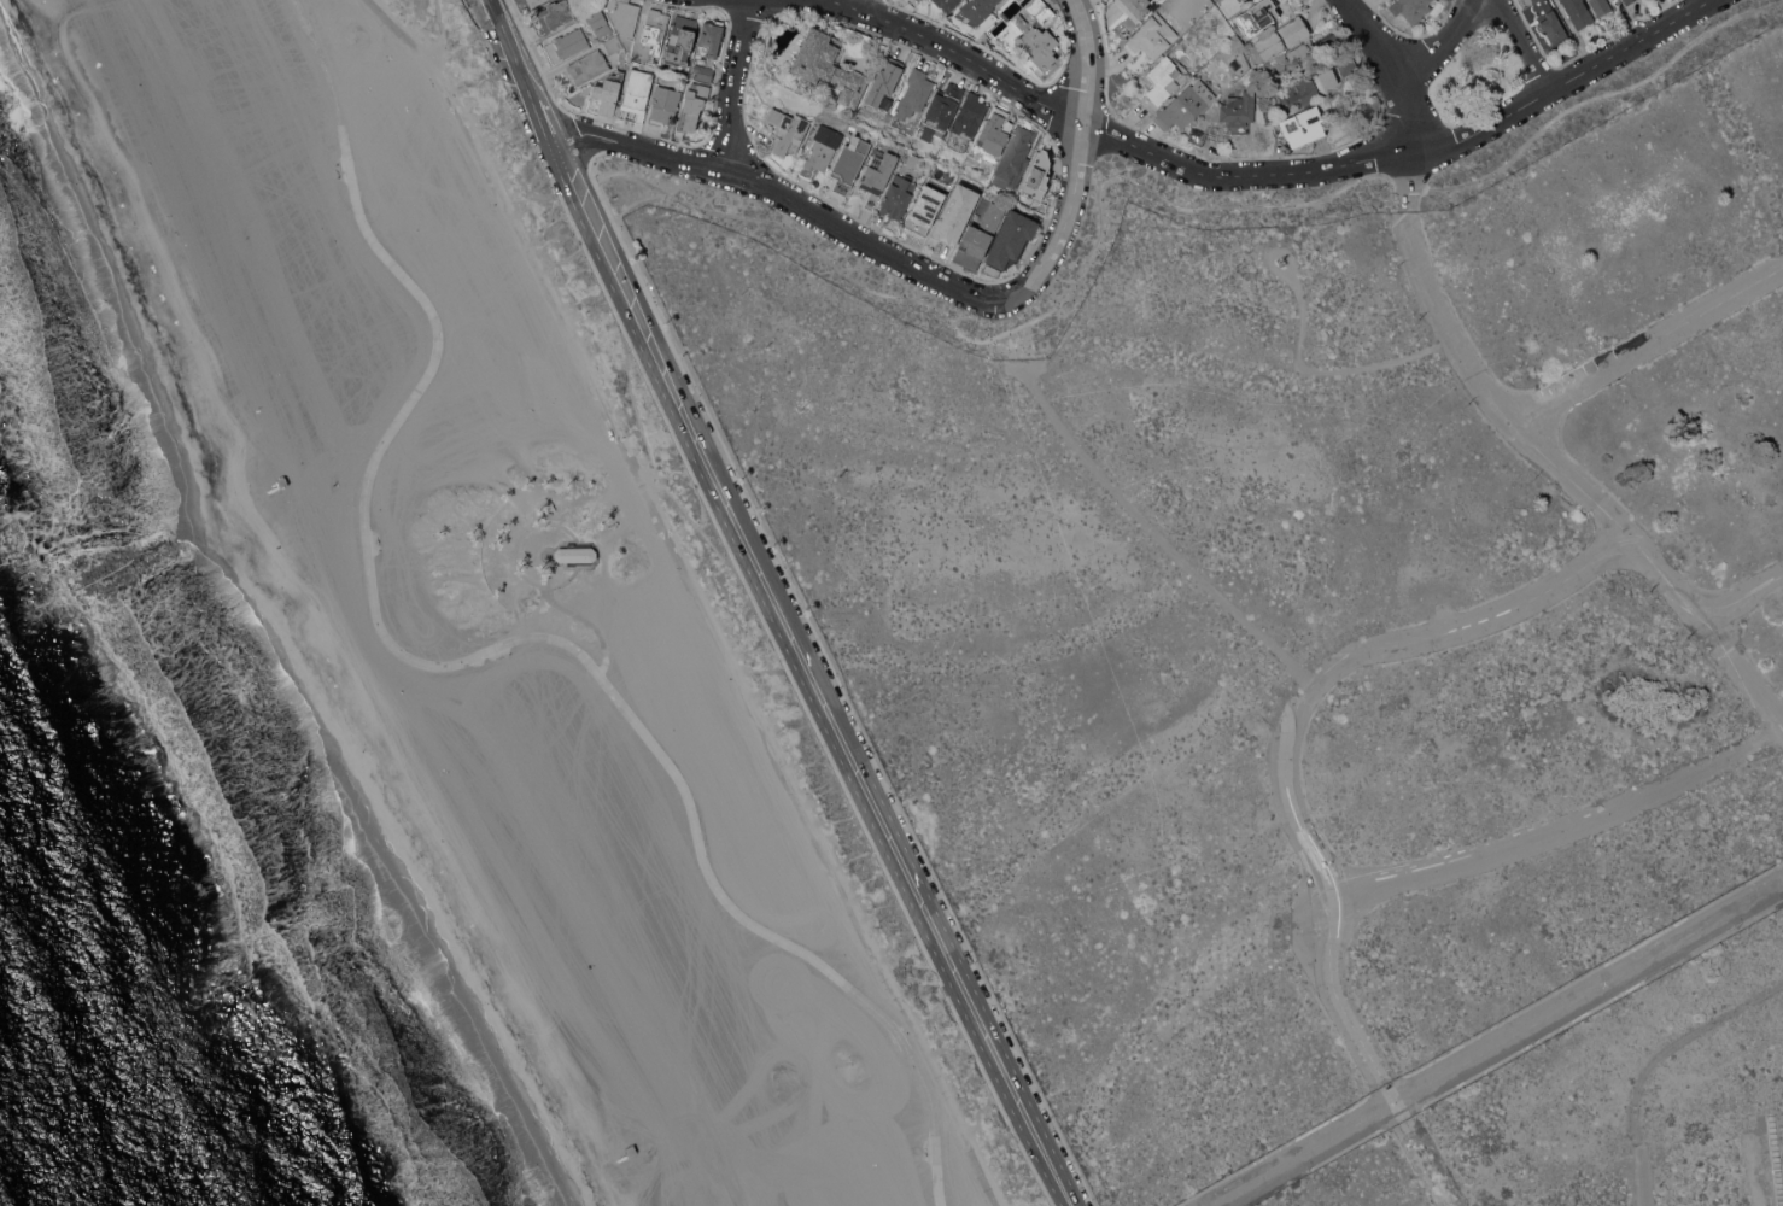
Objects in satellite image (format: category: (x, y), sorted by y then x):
building: (1238, 0)
building: (1627, 1)
building: (534, 2)
building: (947, 4)
road: (876, 6)
building: (1601, 6)
building: (1134, 7)
building: (978, 8)
building: (1410, 8)
building: (1040, 11)
building: (1578, 12)
building: (624, 14)
building: (553, 16)
building: (1256, 16)
building: (1548, 21)
building: (600, 23)
building: (655, 27)
road: (440, 33)
road: (1368, 35)
building: (1151, 36)
building: (1281, 36)
building: (680, 39)
building: (709, 39)
road: (1525, 41)
building: (566, 43)
building: (613, 43)
building: (1331, 43)
building: (1039, 45)
building: (1303, 54)
building: (1281, 58)
road: (1408, 63)
building: (828, 64)
building: (1346, 64)
building: (587, 66)
road: (521, 71)
building: (705, 71)
park: (1479, 76)
building: (1159, 82)
road: (735, 83)
building: (885, 83)
building: (1300, 92)
building: (608, 93)
building: (637, 93)
building: (912, 100)
building: (666, 103)
building: (1185, 105)
building: (692, 106)
building: (941, 111)
building: (1238, 111)
building: (970, 115)
building: (1303, 125)
building: (785, 130)
building: (994, 133)
building: (1197, 135)
building: (822, 150)
building: (1013, 158)
building: (916, 160)
road: (1080, 162)
building: (848, 165)
road: (1272, 171)
building: (877, 175)
building: (1037, 176)
road: (1409, 181)
road: (1145, 187)
road: (784, 195)
building: (899, 195)
park: (1189, 198)
building: (924, 209)
building: (955, 212)
building: (978, 236)
building: (1011, 239)
road: (1299, 318)
road: (1648, 346)
road: (1378, 365)
road: (633, 403)
building: (326, 472)
road: (1571, 480)
road: (641, 484)
building: (548, 507)
road: (698, 529)
road: (747, 545)
building: (574, 554)
road: (515, 555)
road: (696, 595)
road: (1744, 597)
road: (575, 615)
road: (1475, 625)
road: (480, 654)
road: (836, 685)
road: (1311, 687)
road: (1565, 831)
building: (831, 1025)
road: (1495, 1042)
road: (1654, 1061)
road: (1001, 1067)
road: (1752, 1173)
road: (1066, 1196)

